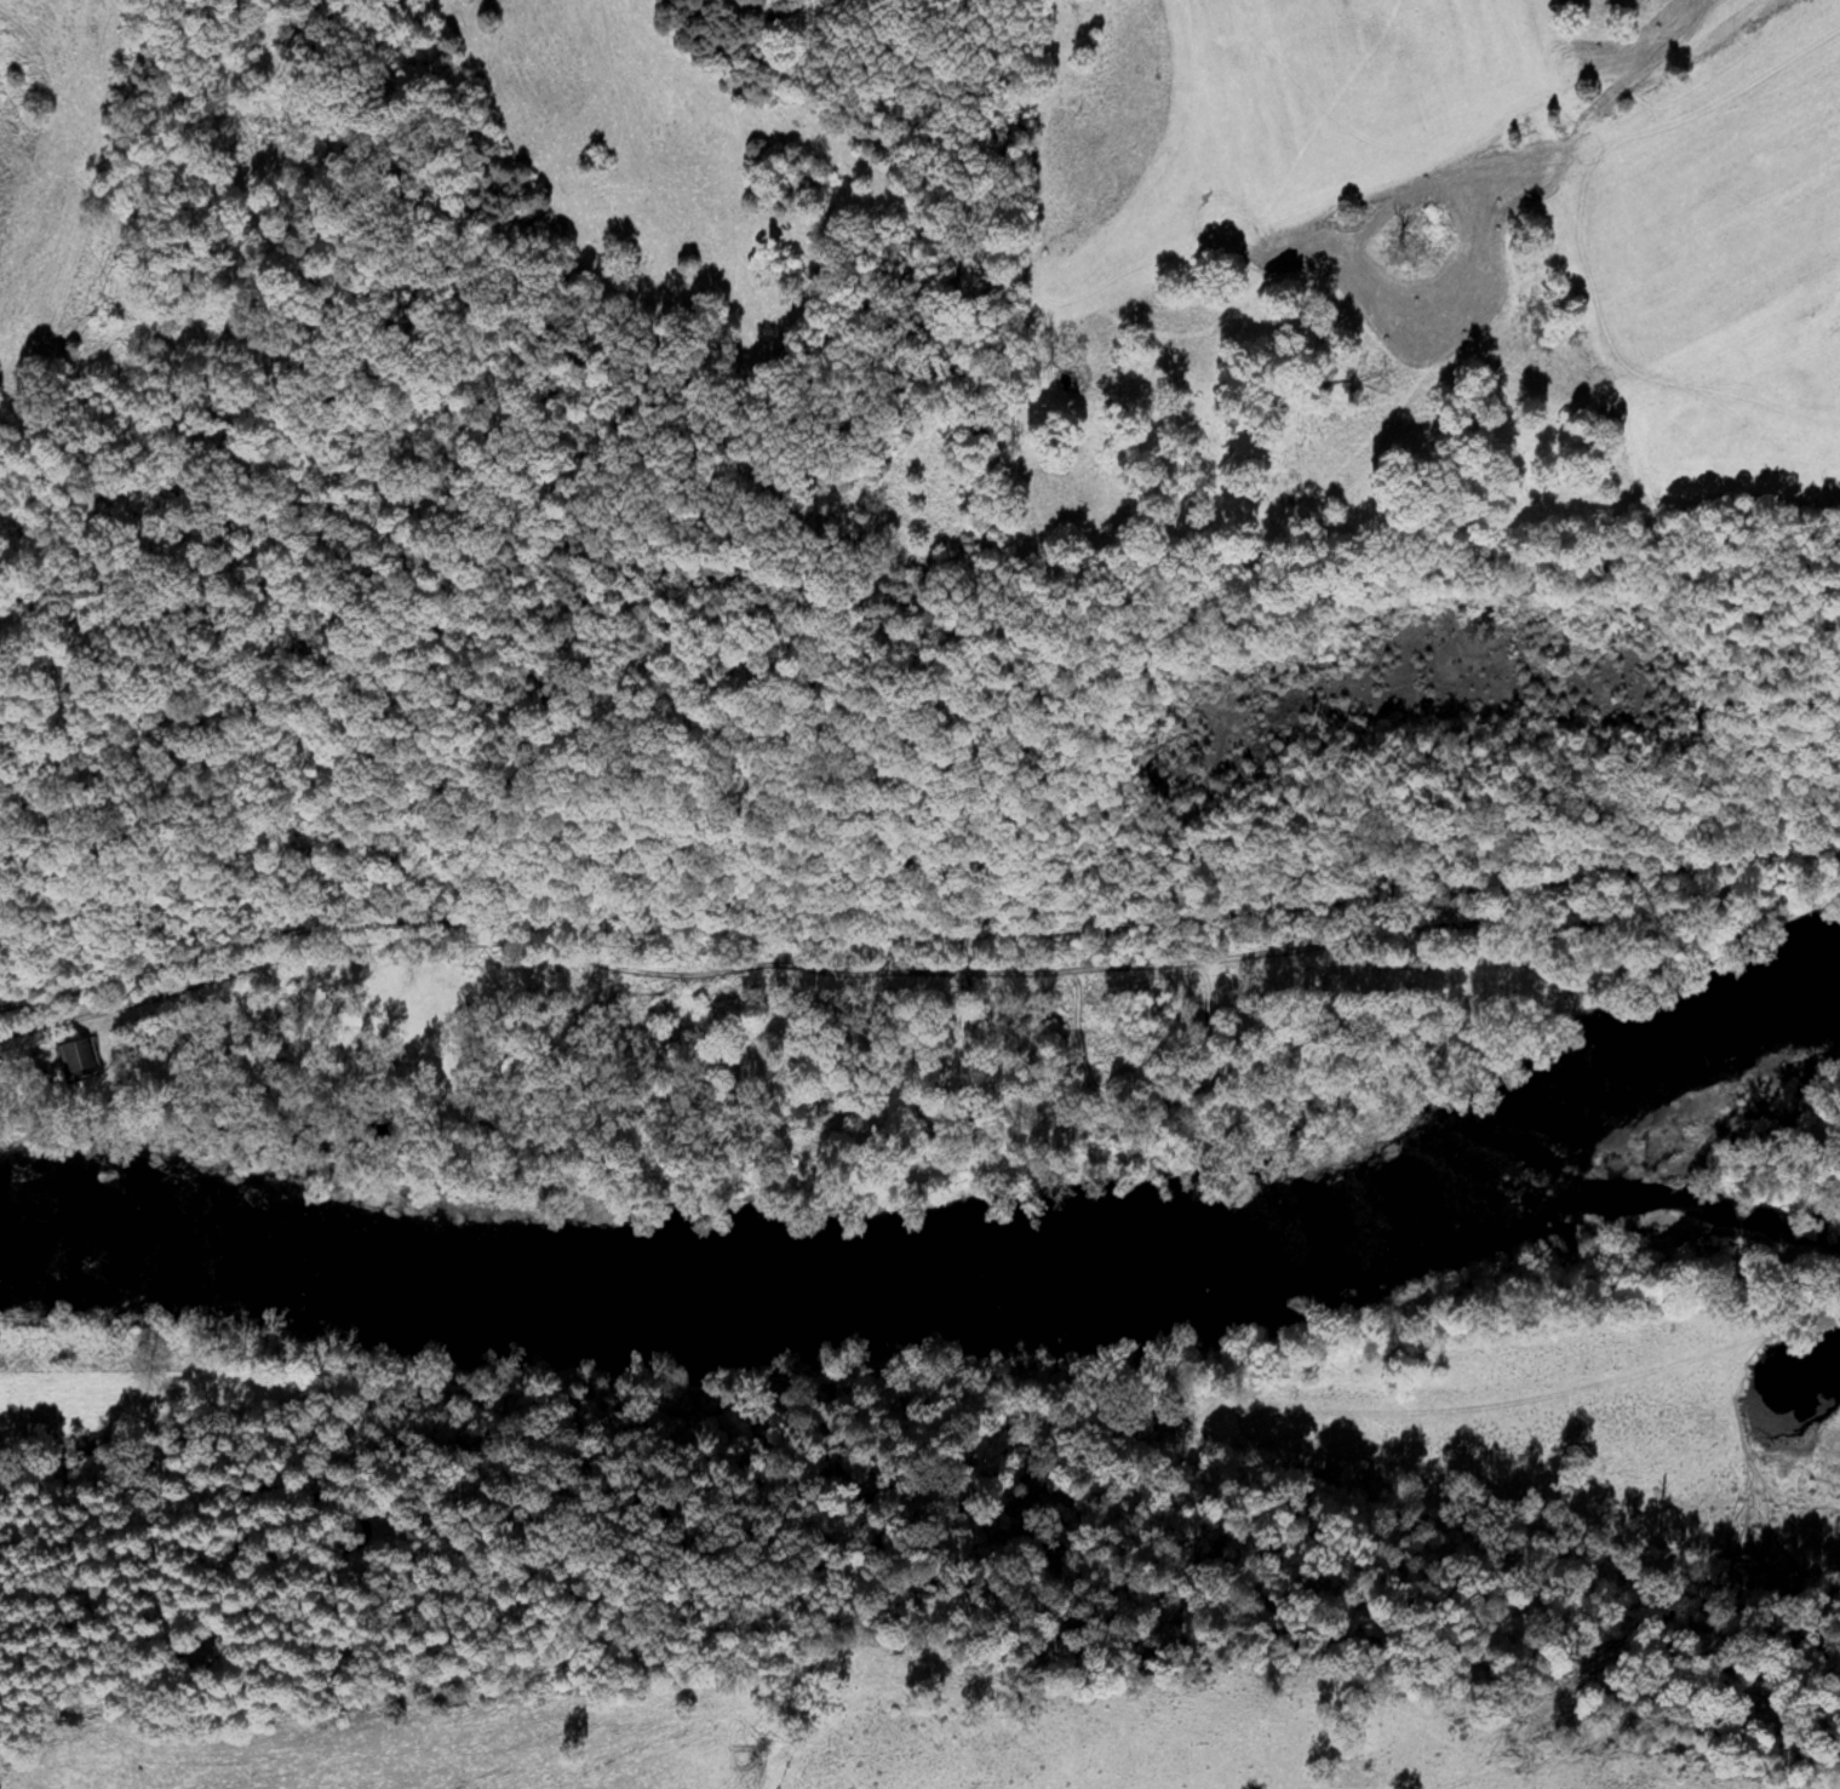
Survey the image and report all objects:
road: (917, 933)
road: (749, 962)
building: (76, 1057)
river: (1633, 1217)
river: (950, 1281)

